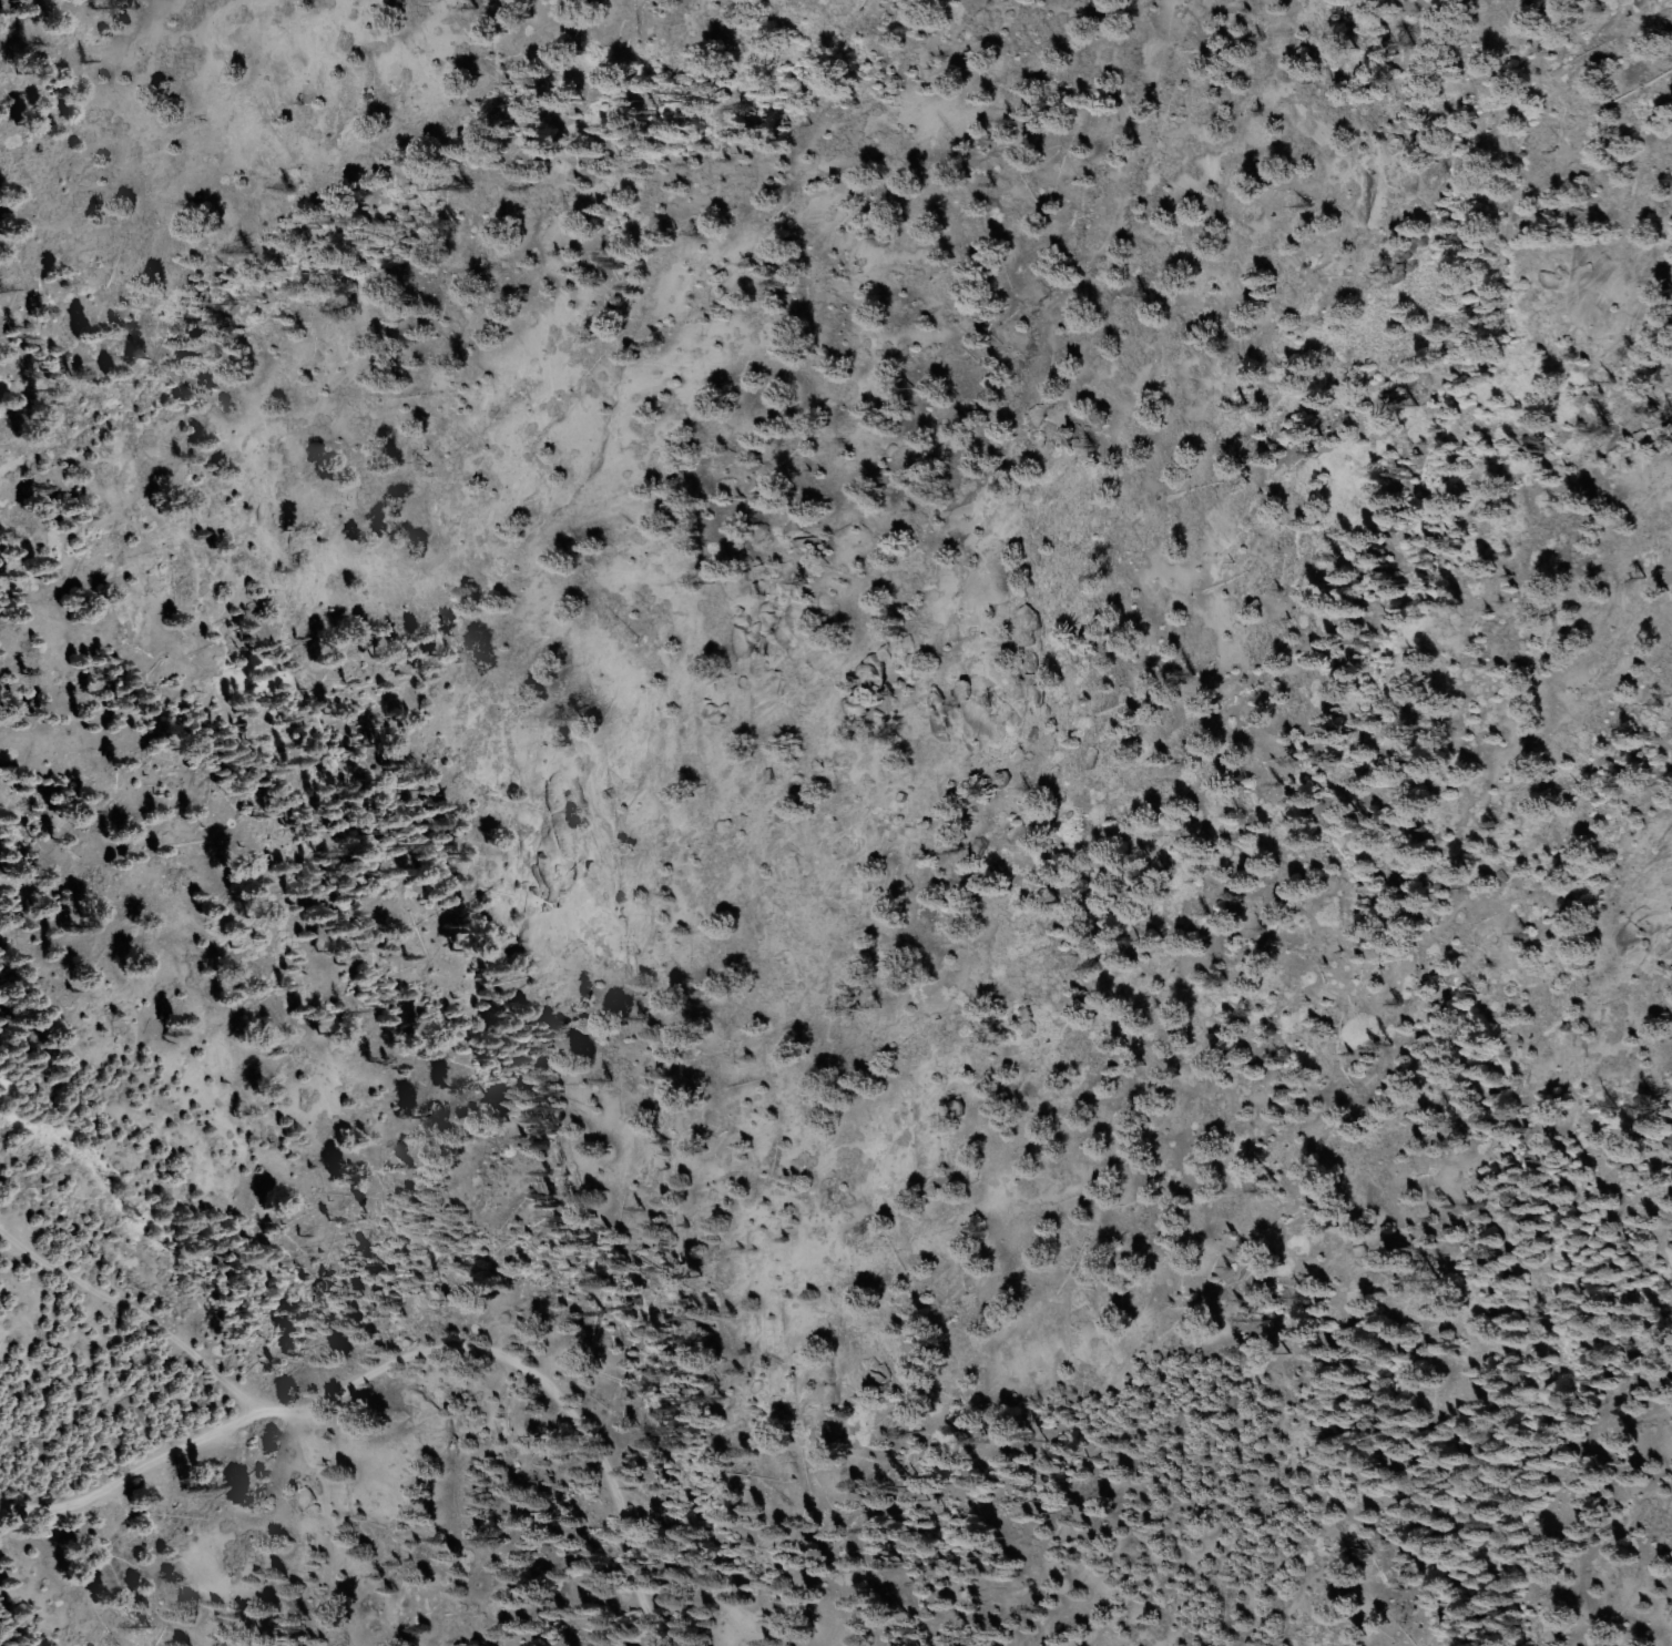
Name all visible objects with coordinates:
road: (136, 1305)
road: (406, 1360)

